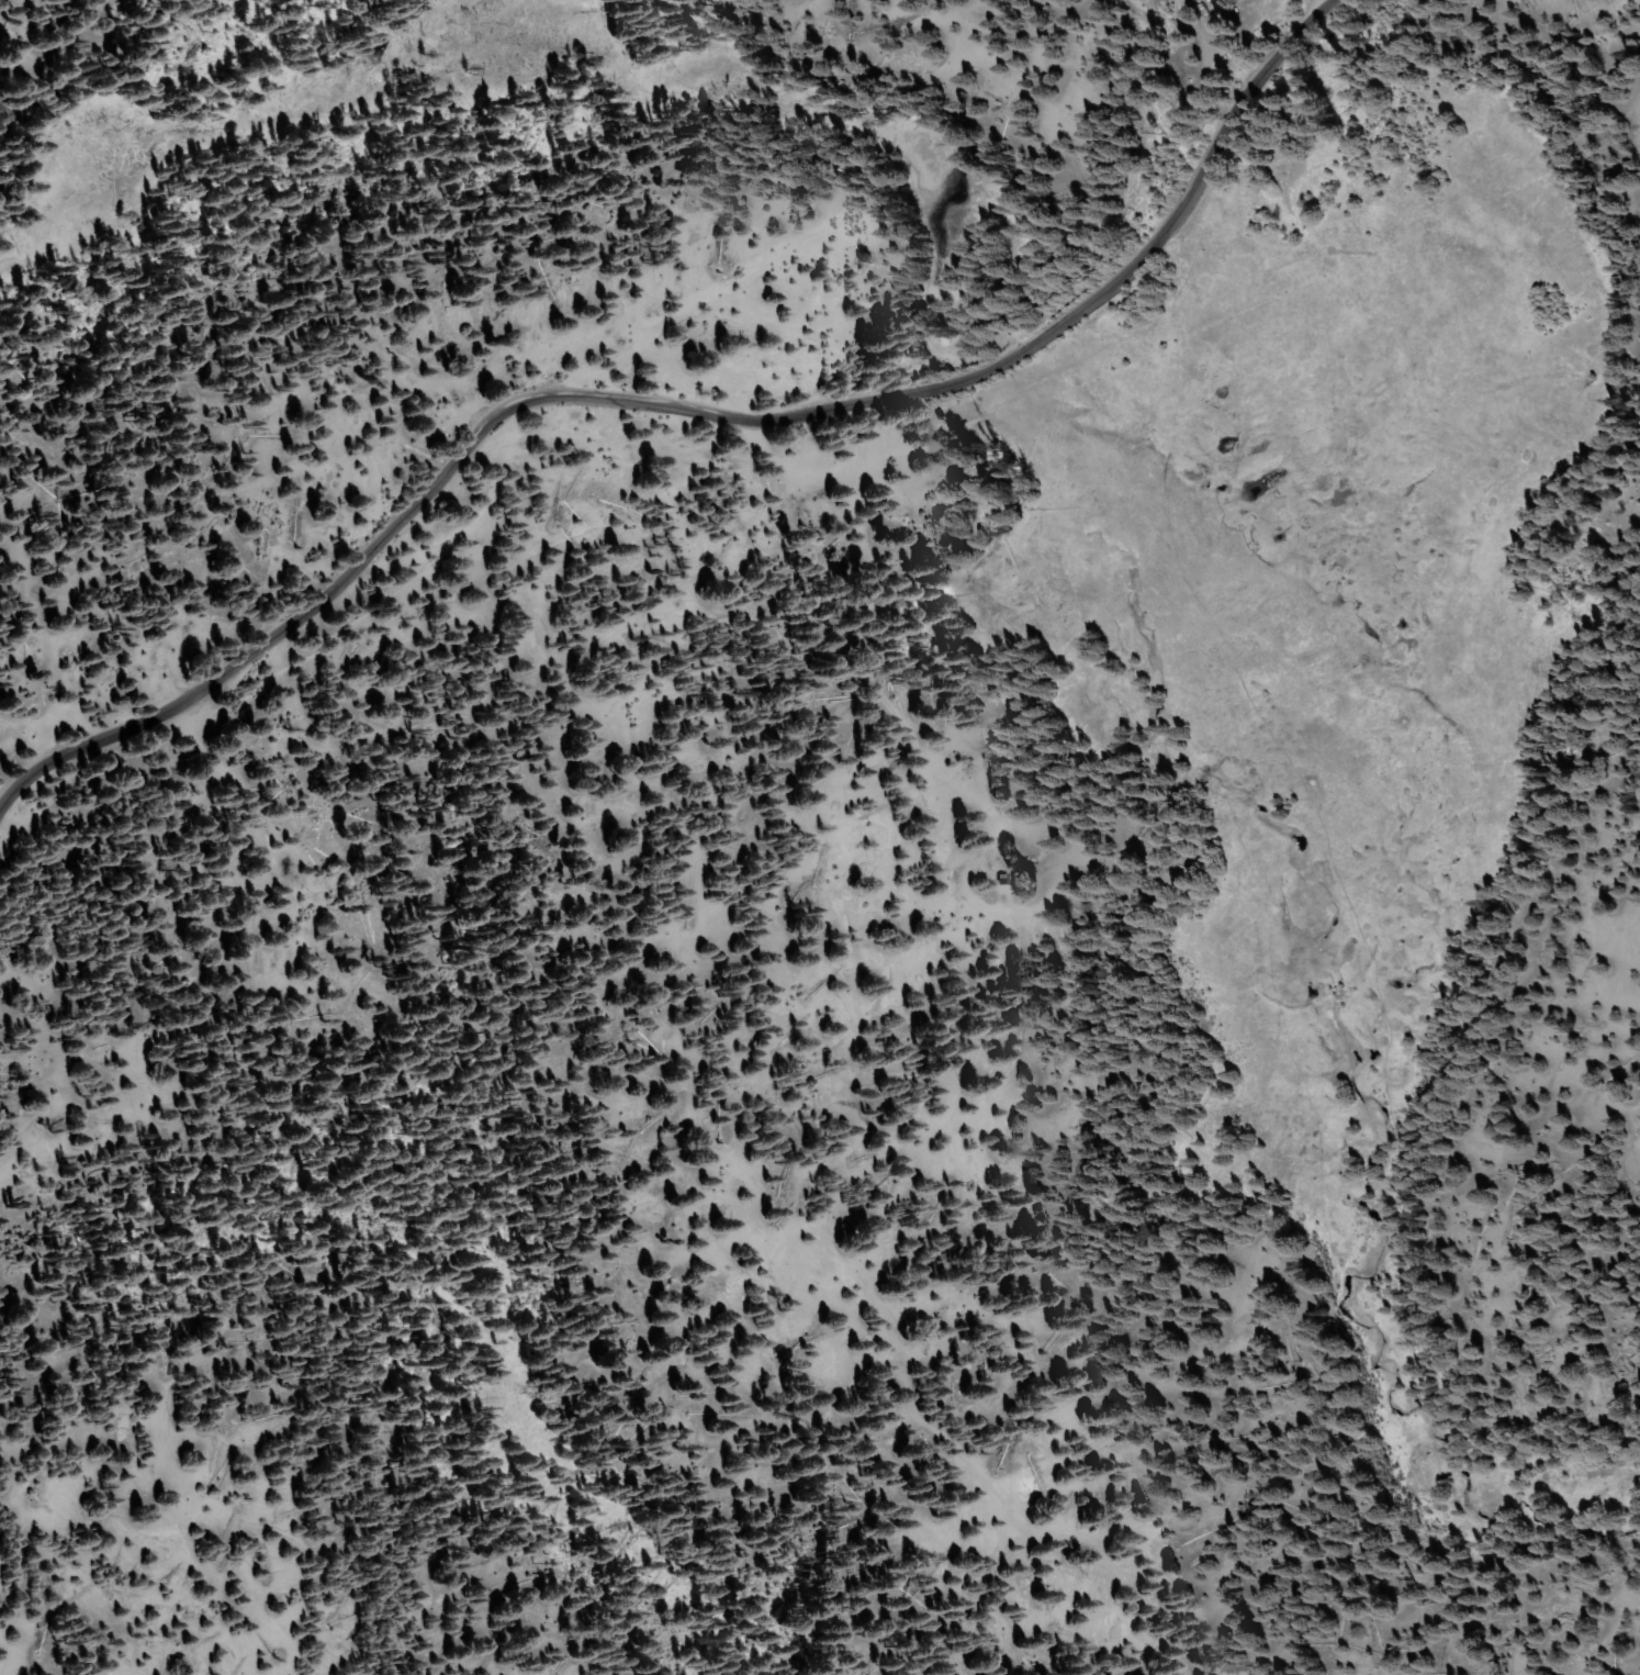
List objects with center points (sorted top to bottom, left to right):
road: (681, 410)

